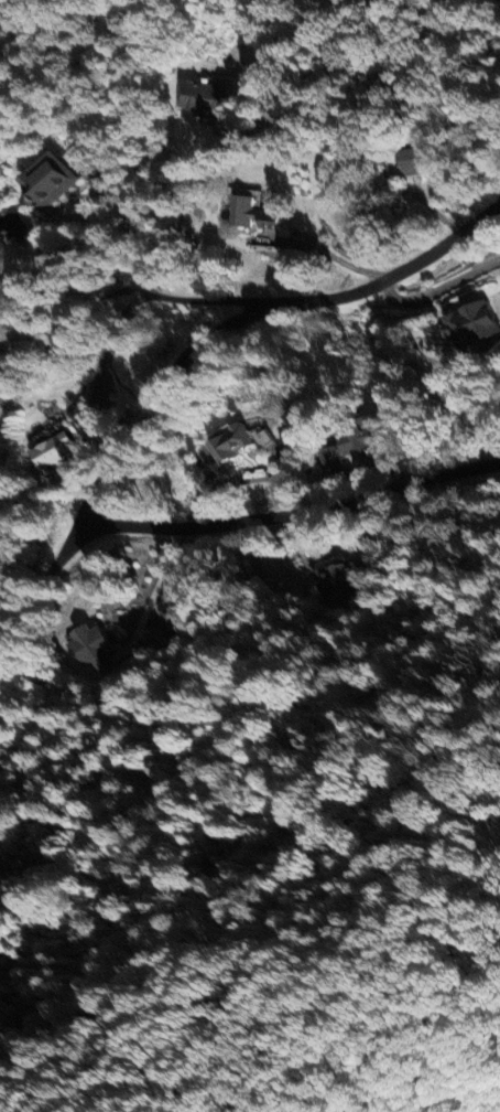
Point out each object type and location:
road: (333, 39)
building: (199, 99)
building: (413, 161)
building: (45, 180)
building: (248, 214)
road: (107, 239)
road: (333, 257)
road: (437, 288)
road: (199, 297)
building: (467, 323)
road: (101, 350)
building: (260, 437)
building: (227, 442)
building: (347, 445)
building: (47, 450)
road: (109, 472)
road: (48, 568)
building: (343, 580)
road: (151, 592)
building: (165, 635)
building: (87, 646)

